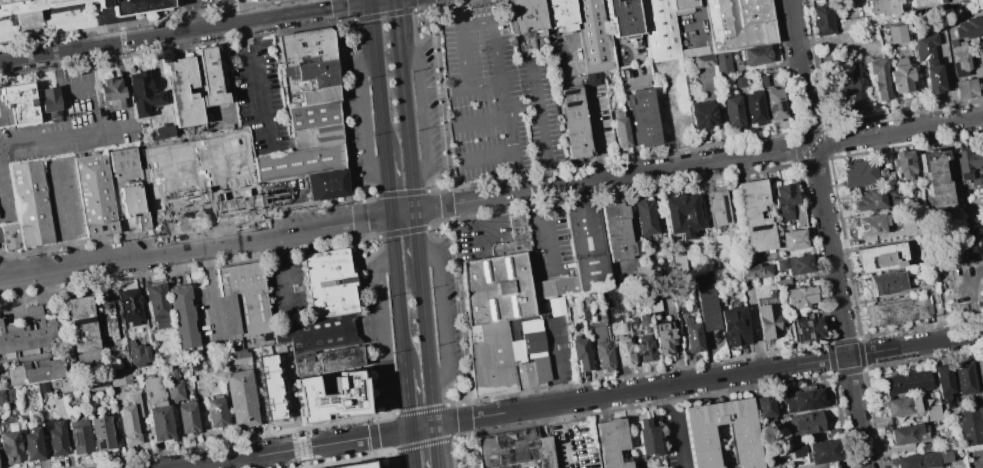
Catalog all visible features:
building: (249, 0)
road: (369, 0)
road: (373, 0)
building: (256, 1)
traffic signals: (370, 1)
road: (426, 2)
building: (928, 2)
road: (339, 3)
road: (355, 3)
building: (30, 4)
building: (137, 4)
building: (977, 4)
building: (683, 6)
building: (879, 7)
road: (419, 8)
road: (228, 12)
road: (341, 13)
road: (284, 14)
road: (383, 14)
building: (560, 14)
road: (192, 15)
building: (526, 16)
building: (623, 18)
building: (820, 19)
road: (347, 21)
road: (475, 23)
building: (851, 23)
building: (739, 24)
road: (212, 27)
building: (968, 28)
building: (659, 30)
building: (895, 33)
building: (868, 34)
building: (593, 37)
road: (257, 42)
road: (97, 45)
road: (241, 46)
building: (304, 46)
building: (981, 47)
building: (756, 56)
building: (958, 59)
building: (704, 61)
building: (930, 63)
building: (723, 64)
road: (801, 69)
building: (313, 73)
road: (377, 76)
building: (899, 76)
building: (210, 78)
building: (878, 78)
building: (593, 79)
building: (739, 81)
road: (483, 85)
road: (93, 88)
building: (965, 88)
road: (78, 90)
road: (443, 91)
building: (112, 92)
building: (182, 92)
building: (846, 92)
building: (142, 93)
building: (318, 95)
parking lot: (258, 97)
road: (440, 97)
parking lot: (497, 98)
road: (503, 100)
building: (50, 103)
building: (17, 104)
road: (261, 104)
building: (775, 104)
road: (404, 105)
road: (521, 105)
rooftop solar panel: (781, 107)
building: (755, 108)
rooftop solar panel: (769, 108)
road: (539, 110)
building: (733, 110)
road: (344, 112)
road: (423, 114)
building: (313, 115)
building: (703, 115)
road: (366, 118)
building: (643, 118)
road: (483, 122)
building: (574, 124)
parking lot: (66, 126)
building: (621, 131)
road: (900, 131)
building: (163, 132)
road: (67, 134)
road: (510, 135)
building: (317, 137)
road: (814, 145)
building: (982, 146)
road: (491, 155)
building: (124, 161)
building: (299, 162)
building: (966, 162)
building: (904, 164)
building: (857, 172)
road: (628, 175)
building: (197, 177)
building: (325, 184)
road: (387, 184)
building: (935, 186)
road: (435, 190)
parking lot: (284, 192)
road: (400, 193)
building: (96, 195)
road: (366, 197)
parking lot: (64, 198)
road: (446, 198)
building: (874, 198)
road: (2, 199)
building: (131, 199)
building: (783, 200)
building: (31, 203)
road: (431, 208)
building: (716, 208)
building: (975, 208)
rooftop solar panel: (724, 210)
road: (447, 211)
road: (359, 212)
building: (680, 215)
building: (753, 215)
road: (387, 216)
road: (64, 217)
building: (643, 218)
building: (142, 219)
building: (871, 224)
road: (437, 225)
road: (361, 228)
rooftop solar panel: (757, 228)
road: (546, 230)
building: (616, 230)
road: (401, 231)
building: (11, 236)
road: (370, 237)
building: (791, 240)
road: (417, 242)
building: (972, 242)
building: (516, 243)
building: (587, 247)
road: (180, 250)
building: (879, 257)
building: (678, 264)
building: (793, 265)
building: (753, 271)
road: (282, 274)
building: (886, 282)
building: (328, 283)
building: (556, 287)
parking lot: (285, 290)
road: (397, 293)
road: (212, 296)
building: (504, 296)
building: (799, 297)
building: (244, 299)
building: (157, 304)
building: (706, 304)
building: (130, 305)
building: (555, 306)
road: (839, 309)
building: (104, 310)
road: (460, 311)
building: (896, 311)
road: (444, 315)
building: (181, 316)
building: (767, 321)
building: (81, 323)
rooftop solar panel: (81, 323)
building: (732, 326)
rooftop solar panel: (805, 326)
road: (386, 327)
road: (364, 329)
building: (808, 329)
building: (28, 331)
rooftop solar panel: (815, 332)
building: (318, 334)
building: (691, 335)
rooftop solar panel: (801, 335)
rooftop solar panel: (808, 336)
building: (664, 338)
building: (536, 345)
rooftop solar panel: (638, 345)
building: (600, 348)
building: (643, 348)
road: (427, 350)
building: (622, 350)
building: (579, 352)
rooftop solar panel: (647, 352)
building: (137, 353)
rooftop solar panel: (642, 355)
building: (240, 356)
building: (327, 361)
road: (554, 361)
building: (495, 365)
building: (979, 369)
building: (35, 371)
road: (723, 376)
building: (119, 377)
building: (536, 377)
building: (962, 377)
building: (942, 381)
building: (906, 382)
building: (53, 383)
building: (67, 384)
building: (42, 387)
building: (173, 387)
building: (269, 387)
building: (329, 394)
building: (5, 395)
building: (240, 398)
building: (803, 399)
road: (407, 400)
road: (454, 403)
building: (765, 406)
building: (902, 406)
road: (420, 409)
building: (215, 412)
building: (932, 412)
road: (465, 413)
road: (385, 416)
building: (187, 418)
building: (160, 421)
building: (971, 421)
building: (805, 423)
road: (677, 424)
building: (128, 425)
road: (465, 425)
rooftop solar panel: (698, 426)
road: (419, 428)
building: (101, 433)
building: (907, 434)
rooftop solar panel: (76, 435)
road: (459, 435)
building: (79, 436)
road: (374, 436)
building: (647, 436)
building: (56, 438)
road: (346, 440)
rooftop solar panel: (698, 440)
rooftop solar panel: (99, 442)
building: (611, 442)
road: (422, 443)
building: (32, 444)
building: (10, 446)
road: (436, 447)
building: (701, 447)
road: (301, 448)
road: (412, 448)
road: (474, 448)
building: (515, 448)
road: (385, 452)
building: (825, 452)
parking lot: (974, 457)
road: (374, 458)
rooftop solar panel: (702, 458)
road: (230, 459)
building: (924, 460)
building: (354, 465)
road: (978, 466)
building: (836, 467)

